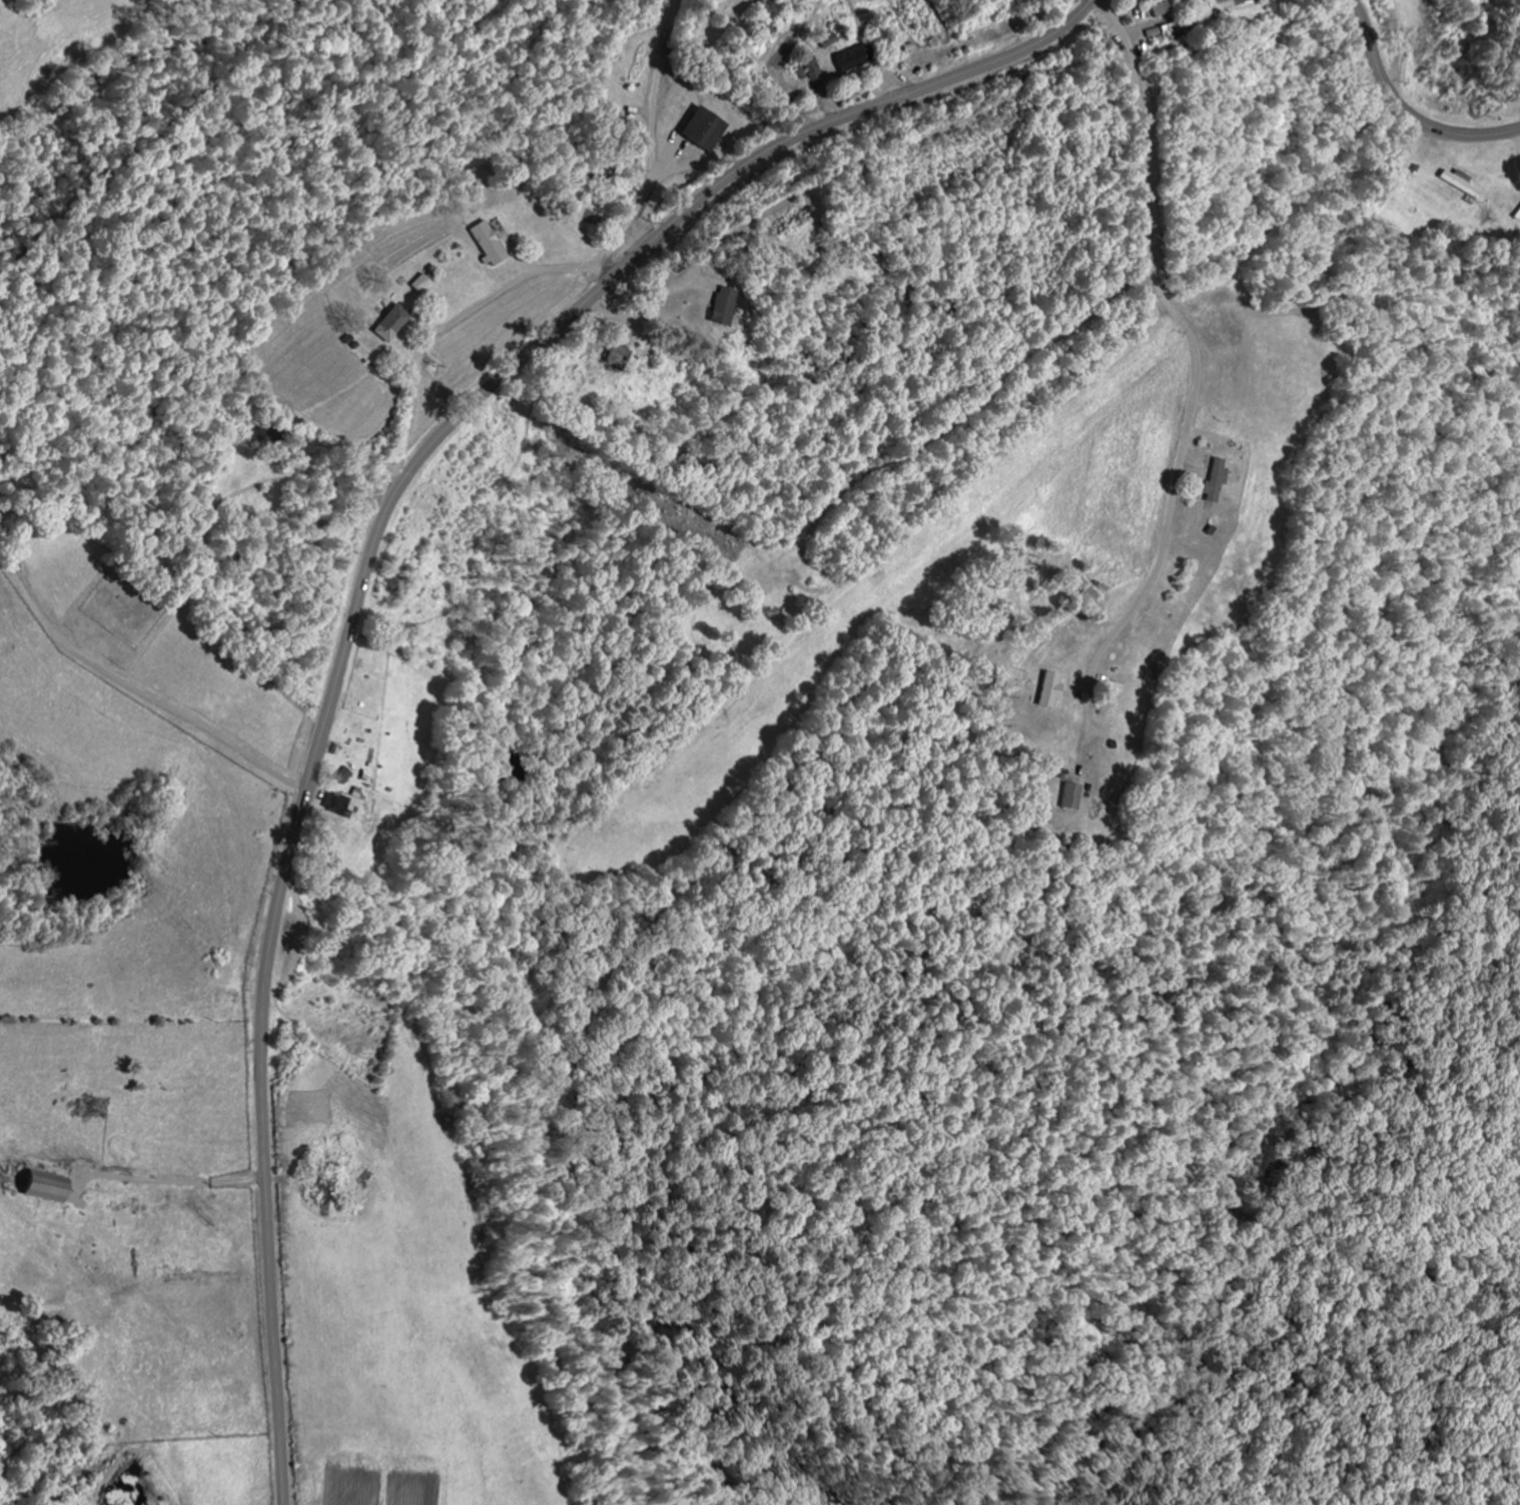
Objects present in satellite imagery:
building: (1163, 9)
building: (1164, 32)
building: (826, 41)
building: (854, 58)
road: (1405, 107)
building: (705, 129)
road: (675, 137)
building: (1518, 213)
building: (490, 243)
building: (422, 284)
building: (725, 307)
building: (391, 324)
road: (1192, 358)
road: (775, 446)
building: (1218, 481)
road: (367, 569)
building: (1050, 691)
road: (186, 715)
building: (345, 775)
building: (1072, 797)
building: (337, 804)

